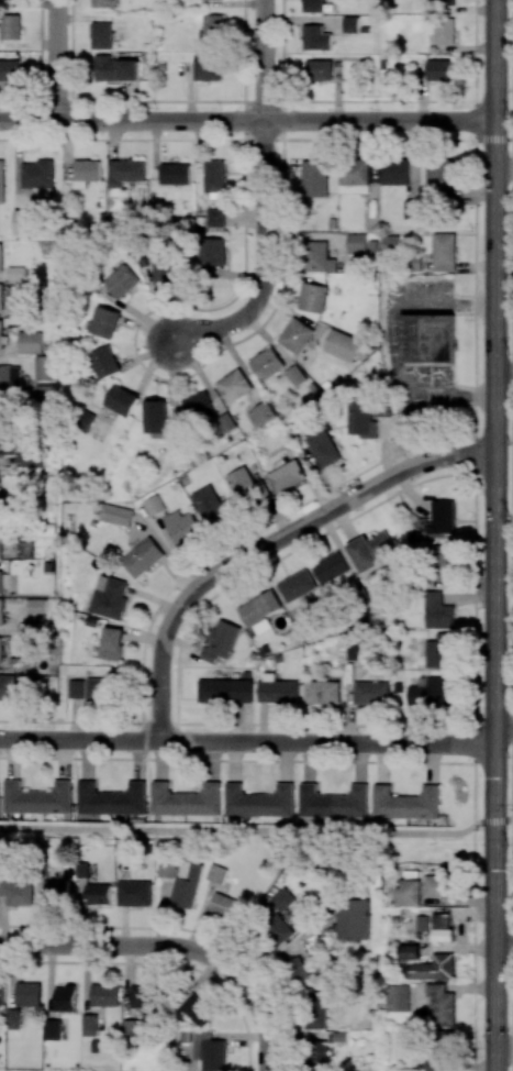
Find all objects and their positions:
building: (444, 2)
building: (101, 3)
building: (312, 5)
building: (350, 24)
building: (10, 26)
building: (213, 26)
building: (444, 30)
building: (101, 35)
building: (316, 37)
road: (476, 48)
road: (283, 49)
road: (261, 59)
road: (55, 60)
building: (207, 66)
building: (114, 68)
building: (319, 69)
building: (438, 69)
building: (9, 71)
road: (512, 79)
road: (223, 100)
road: (244, 109)
road: (247, 121)
road: (199, 139)
road: (112, 140)
road: (237, 140)
road: (154, 141)
road: (67, 148)
road: (18, 156)
road: (512, 158)
road: (414, 159)
road: (282, 164)
road: (503, 167)
building: (124, 170)
building: (86, 172)
building: (395, 172)
building: (175, 174)
road: (373, 174)
building: (354, 175)
building: (37, 176)
building: (438, 176)
building: (213, 177)
building: (314, 177)
building: (1, 181)
road: (475, 194)
building: (20, 200)
building: (412, 208)
building: (215, 218)
road: (243, 220)
road: (304, 235)
building: (357, 243)
building: (444, 251)
building: (212, 252)
building: (316, 256)
building: (1, 257)
road: (263, 261)
road: (512, 261)
building: (413, 262)
building: (168, 270)
building: (15, 273)
road: (239, 274)
road: (3, 276)
road: (286, 276)
building: (122, 280)
building: (1, 296)
building: (312, 297)
building: (21, 306)
road: (158, 307)
road: (4, 312)
road: (136, 313)
road: (293, 313)
building: (104, 322)
road: (145, 329)
building: (295, 334)
building: (2, 335)
road: (268, 339)
building: (427, 339)
building: (30, 341)
building: (342, 345)
road: (392, 345)
road: (9, 351)
road: (144, 354)
parking lot: (393, 354)
road: (18, 362)
building: (104, 362)
building: (266, 362)
road: (241, 364)
building: (44, 367)
road: (148, 367)
road: (149, 372)
road: (200, 374)
building: (295, 375)
road: (504, 375)
building: (9, 377)
road: (171, 383)
building: (234, 386)
building: (121, 400)
building: (198, 407)
building: (383, 407)
building: (0, 415)
building: (259, 415)
building: (157, 418)
building: (361, 419)
building: (225, 421)
road: (512, 426)
building: (7, 442)
road: (386, 445)
building: (323, 448)
road: (400, 451)
road: (469, 453)
building: (31, 456)
road: (10, 459)
building: (286, 475)
road: (320, 478)
building: (246, 484)
road: (316, 495)
road: (409, 497)
building: (154, 505)
building: (213, 505)
building: (0, 508)
building: (116, 514)
road: (278, 515)
building: (443, 517)
road: (466, 520)
road: (346, 522)
building: (181, 528)
road: (154, 532)
road: (475, 533)
road: (495, 534)
road: (242, 535)
building: (1, 539)
road: (268, 543)
building: (25, 549)
building: (370, 549)
road: (172, 552)
road: (342, 552)
road: (9, 555)
building: (142, 556)
building: (444, 562)
road: (270, 564)
road: (5, 566)
building: (330, 566)
building: (1, 582)
road: (464, 584)
building: (297, 585)
road: (231, 587)
building: (109, 597)
road: (152, 597)
road: (468, 597)
building: (37, 605)
building: (259, 606)
building: (438, 610)
building: (2, 611)
road: (11, 616)
road: (512, 618)
building: (33, 627)
road: (15, 631)
road: (144, 636)
building: (222, 640)
road: (183, 642)
building: (111, 643)
road: (476, 645)
building: (356, 647)
building: (1, 650)
building: (440, 650)
building: (21, 663)
road: (4, 665)
building: (8, 686)
building: (76, 688)
building: (101, 689)
building: (224, 689)
building: (277, 689)
building: (322, 691)
building: (371, 692)
building: (435, 692)
road: (512, 699)
road: (350, 702)
road: (342, 717)
road: (76, 718)
road: (238, 721)
road: (261, 721)
road: (88, 722)
road: (417, 725)
road: (503, 735)
road: (247, 741)
road: (237, 759)
road: (473, 775)
building: (37, 798)
building: (111, 798)
building: (186, 799)
building: (259, 801)
building: (333, 802)
building: (406, 803)
road: (503, 818)
traffic signals: (495, 821)
road: (249, 831)
building: (166, 868)
building: (81, 869)
building: (216, 873)
building: (187, 883)
building: (438, 885)
building: (16, 890)
building: (57, 891)
building: (408, 892)
building: (98, 893)
building: (134, 893)
road: (263, 895)
building: (287, 903)
building: (224, 906)
building: (353, 918)
building: (423, 923)
building: (277, 928)
building: (442, 928)
road: (108, 940)
road: (503, 949)
building: (410, 951)
building: (432, 968)
building: (298, 969)
building: (0, 993)
building: (27, 993)
building: (104, 994)
building: (141, 995)
building: (397, 997)
building: (64, 1000)
road: (258, 1003)
building: (442, 1004)
building: (198, 1008)
building: (314, 1009)
building: (13, 1018)
building: (89, 1025)
building: (131, 1028)
building: (52, 1029)
building: (209, 1051)
building: (316, 1053)

